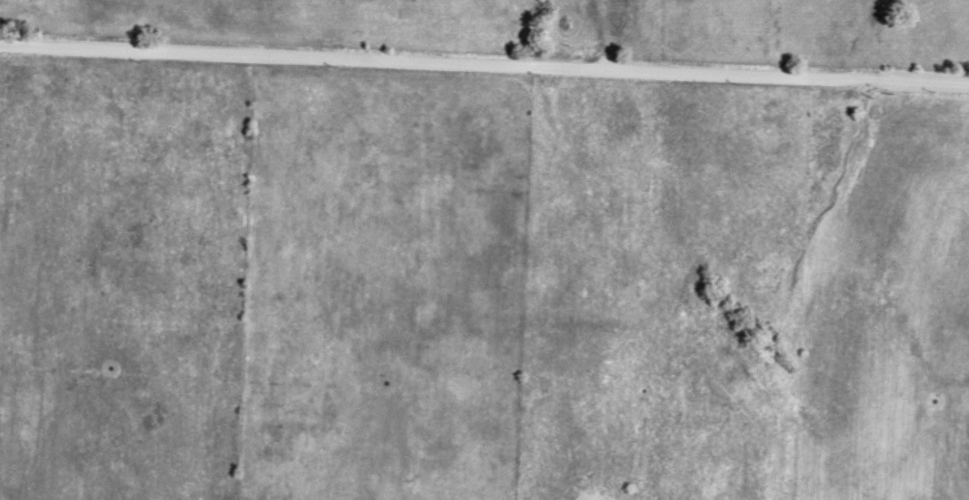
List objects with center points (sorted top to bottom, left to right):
road: (484, 72)

